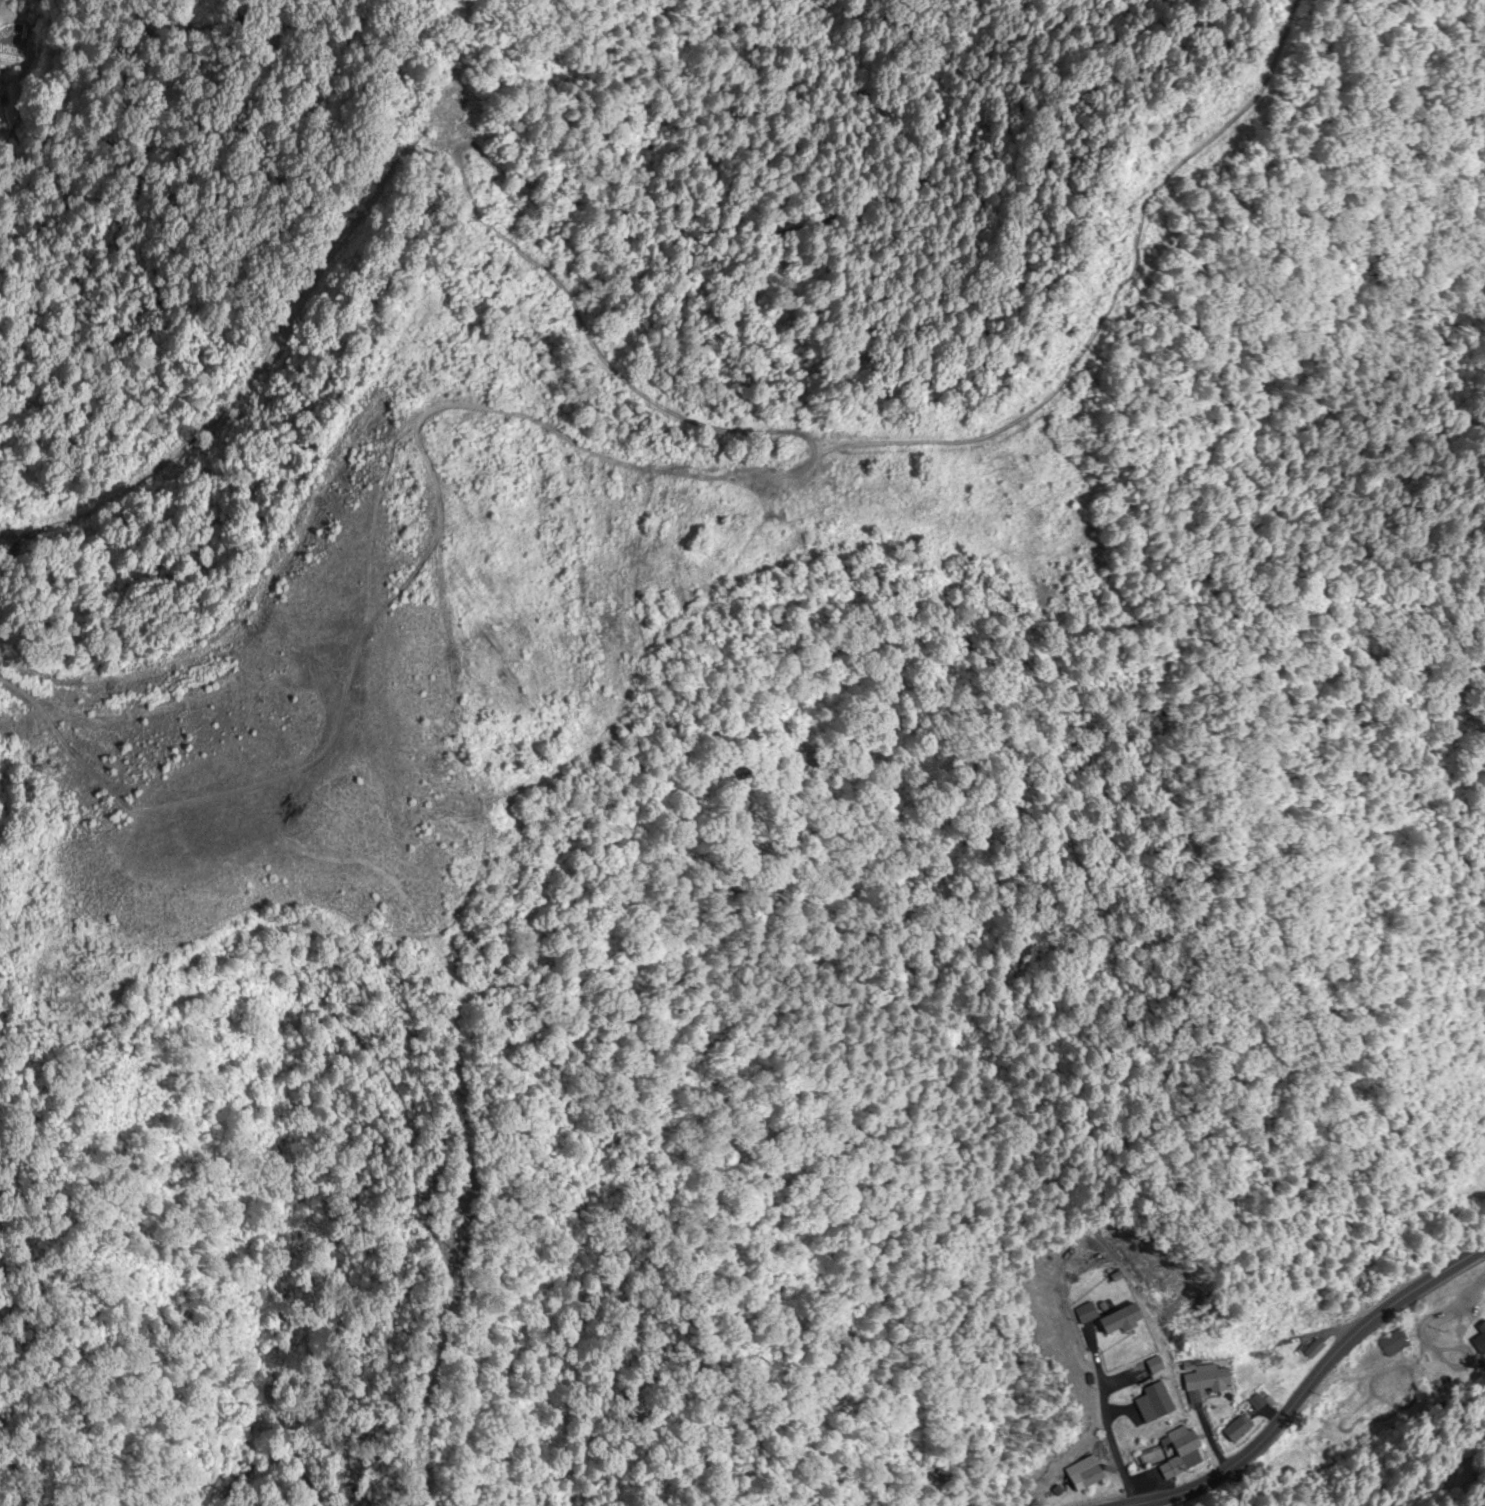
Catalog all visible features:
building: (1127, 1319)
building: (1481, 1330)
building: (1388, 1348)
building: (1261, 1358)
building: (1200, 1381)
road: (1309, 1381)
building: (1252, 1401)
building: (1157, 1402)
building: (1232, 1430)
building: (1178, 1453)
road: (1206, 1491)

